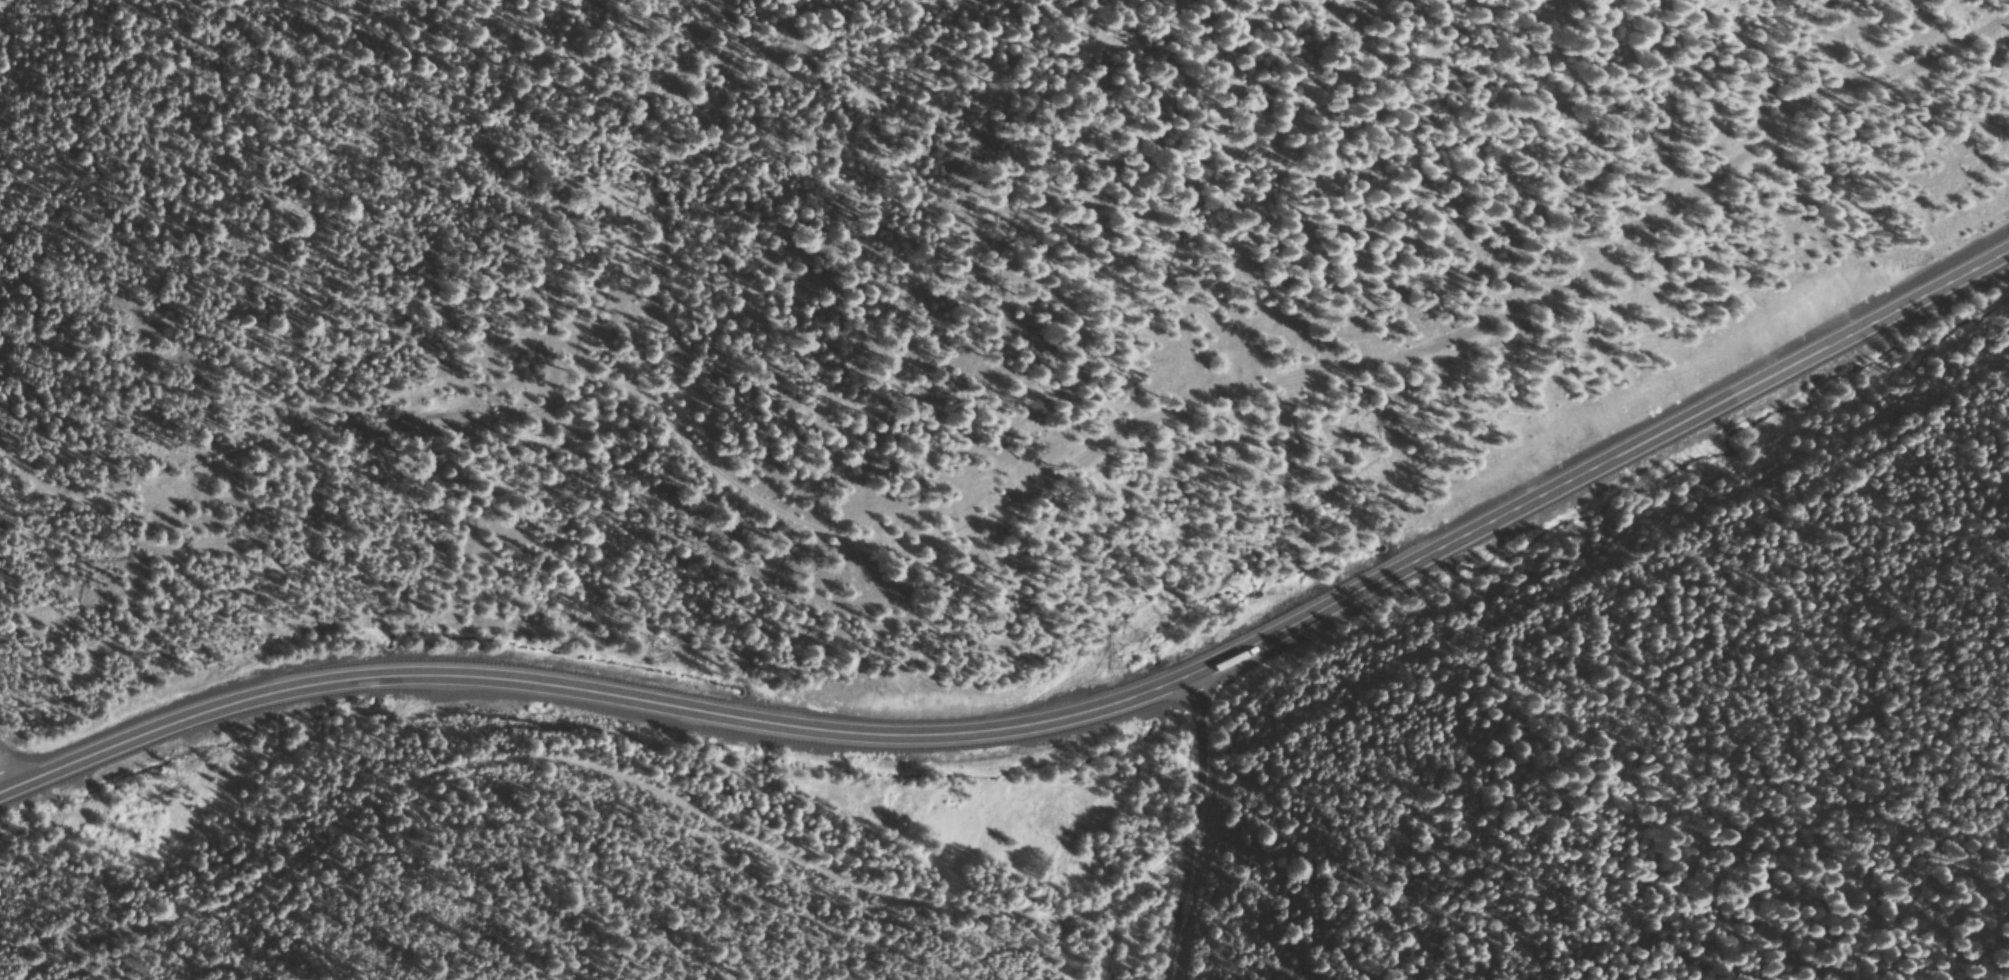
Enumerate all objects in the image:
road: (1023, 487)
road: (1046, 718)
road: (11, 758)

